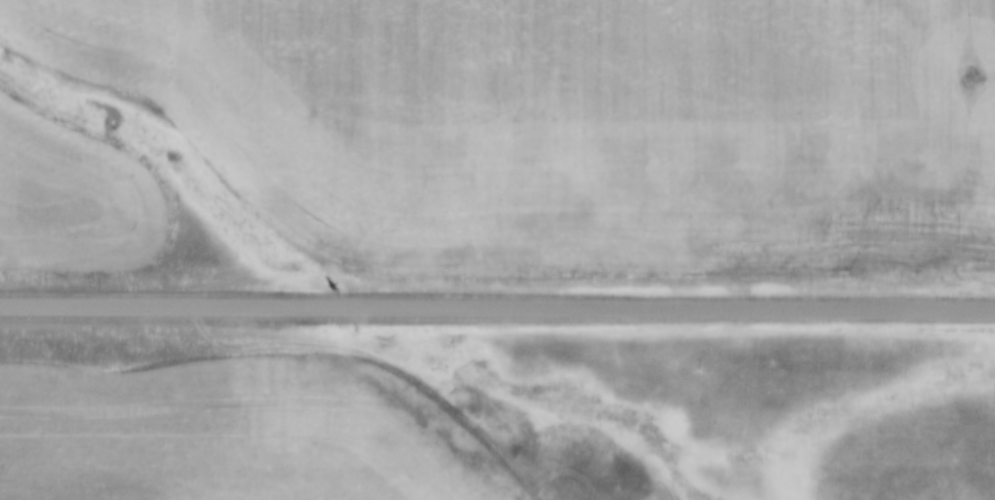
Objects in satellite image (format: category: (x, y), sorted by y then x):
road: (497, 311)

